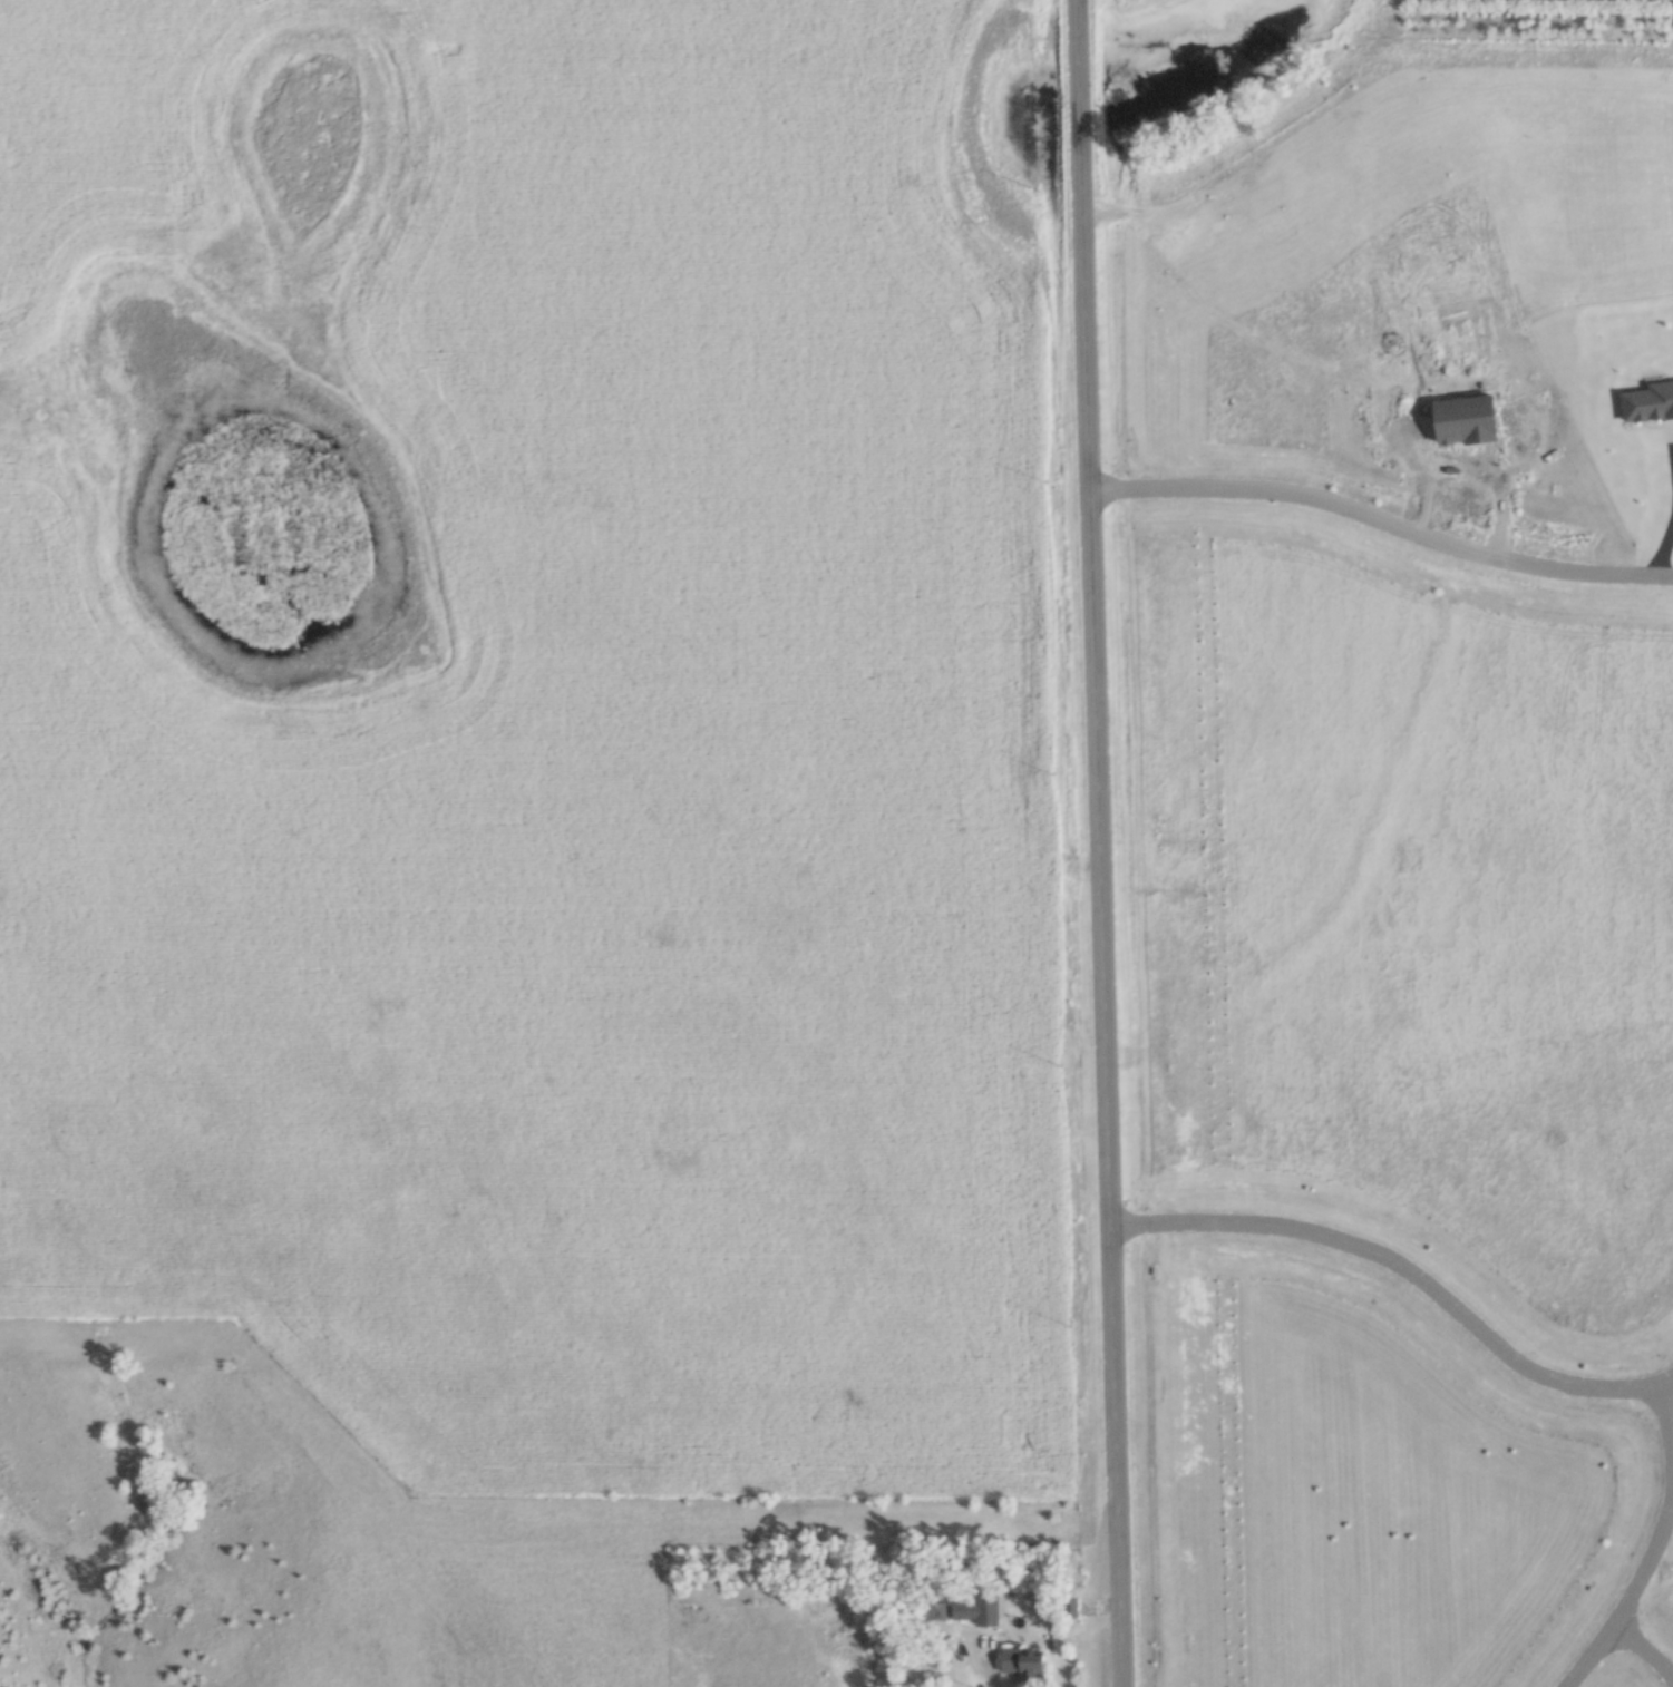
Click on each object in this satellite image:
road: (1383, 515)
road: (1662, 546)
road: (1100, 843)
road: (1411, 1265)
road: (1653, 1545)
building: (982, 1608)
building: (940, 1610)
road: (1645, 1648)
building: (1032, 1661)
road: (994, 1680)

